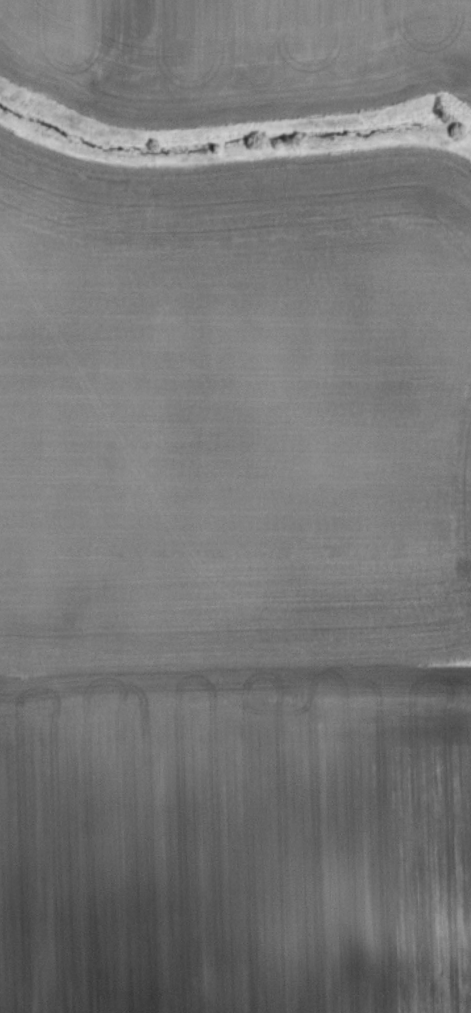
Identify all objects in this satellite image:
crop: (234, 54)
crop: (235, 584)

